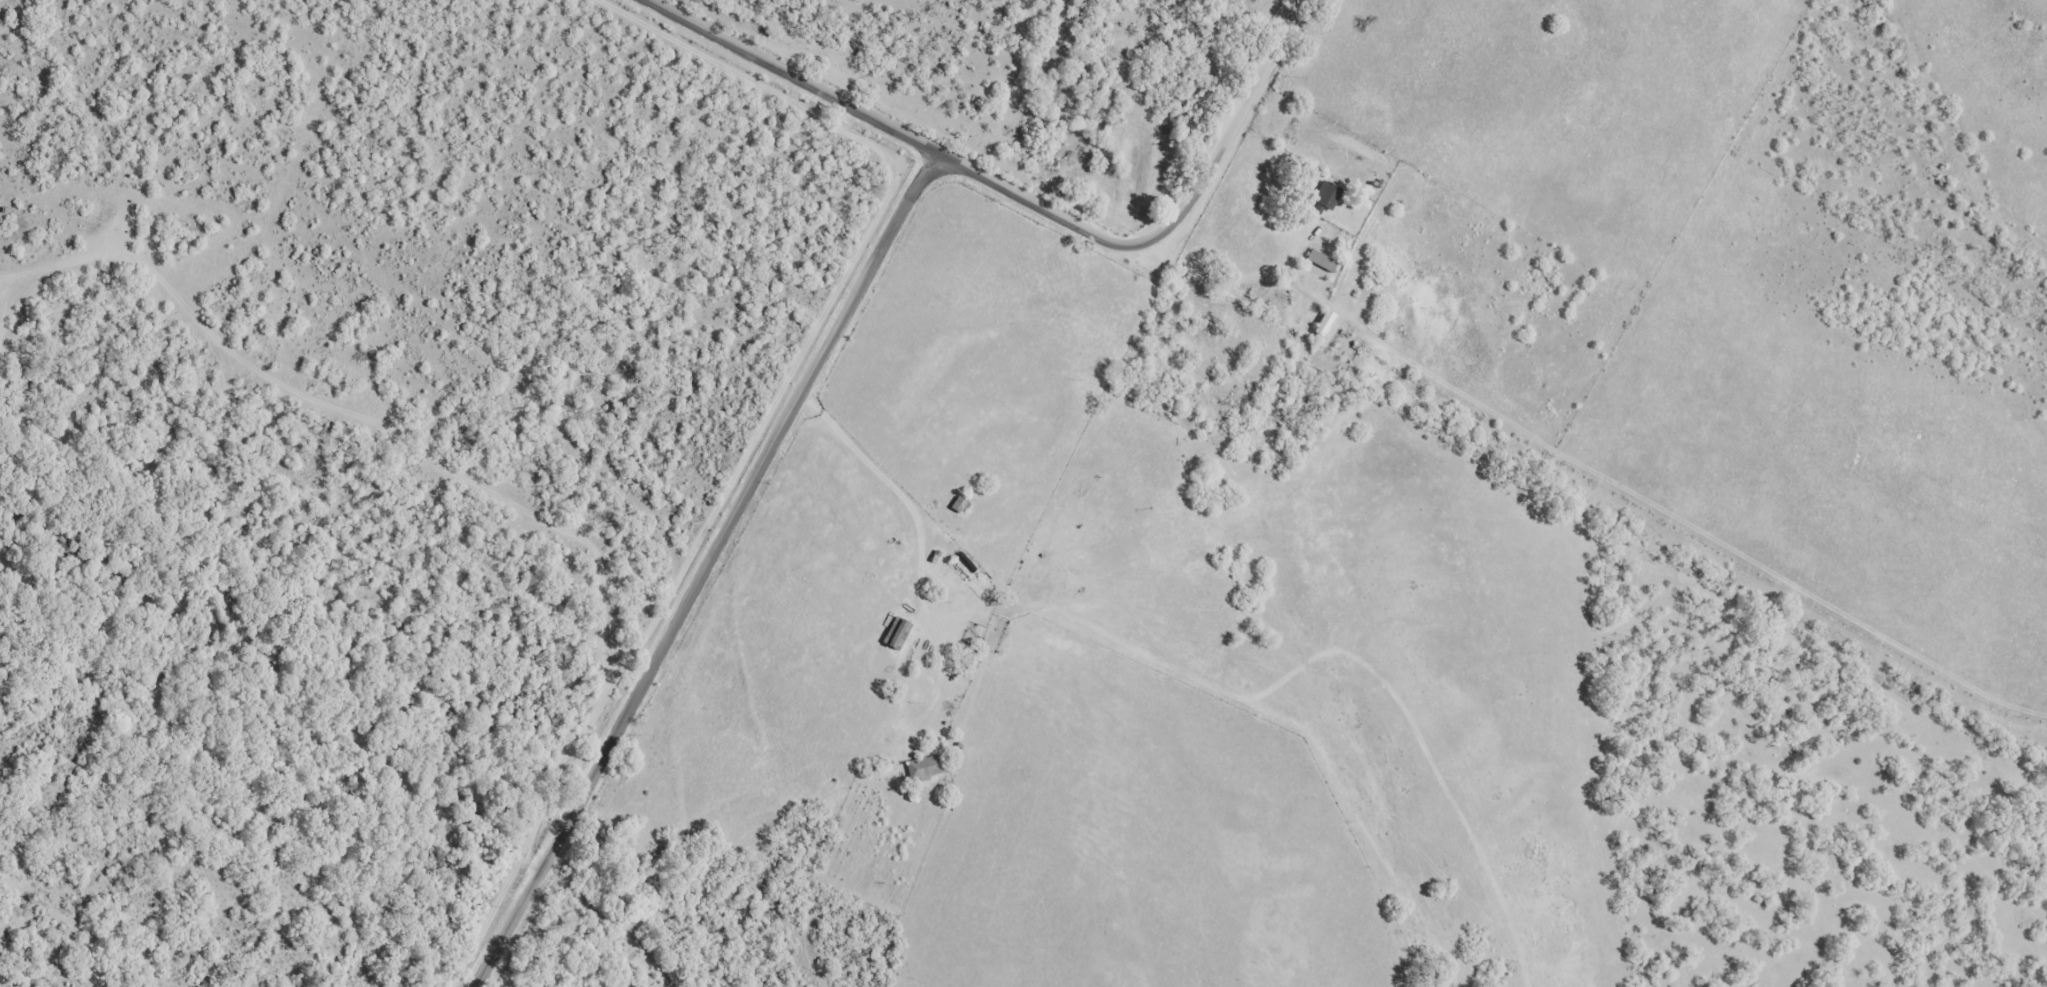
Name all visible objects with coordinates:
building: (1325, 194)
road: (1024, 195)
building: (1319, 259)
building: (1322, 322)
building: (956, 504)
road: (920, 540)
road: (700, 570)
building: (894, 633)
road: (946, 675)
building: (923, 766)

